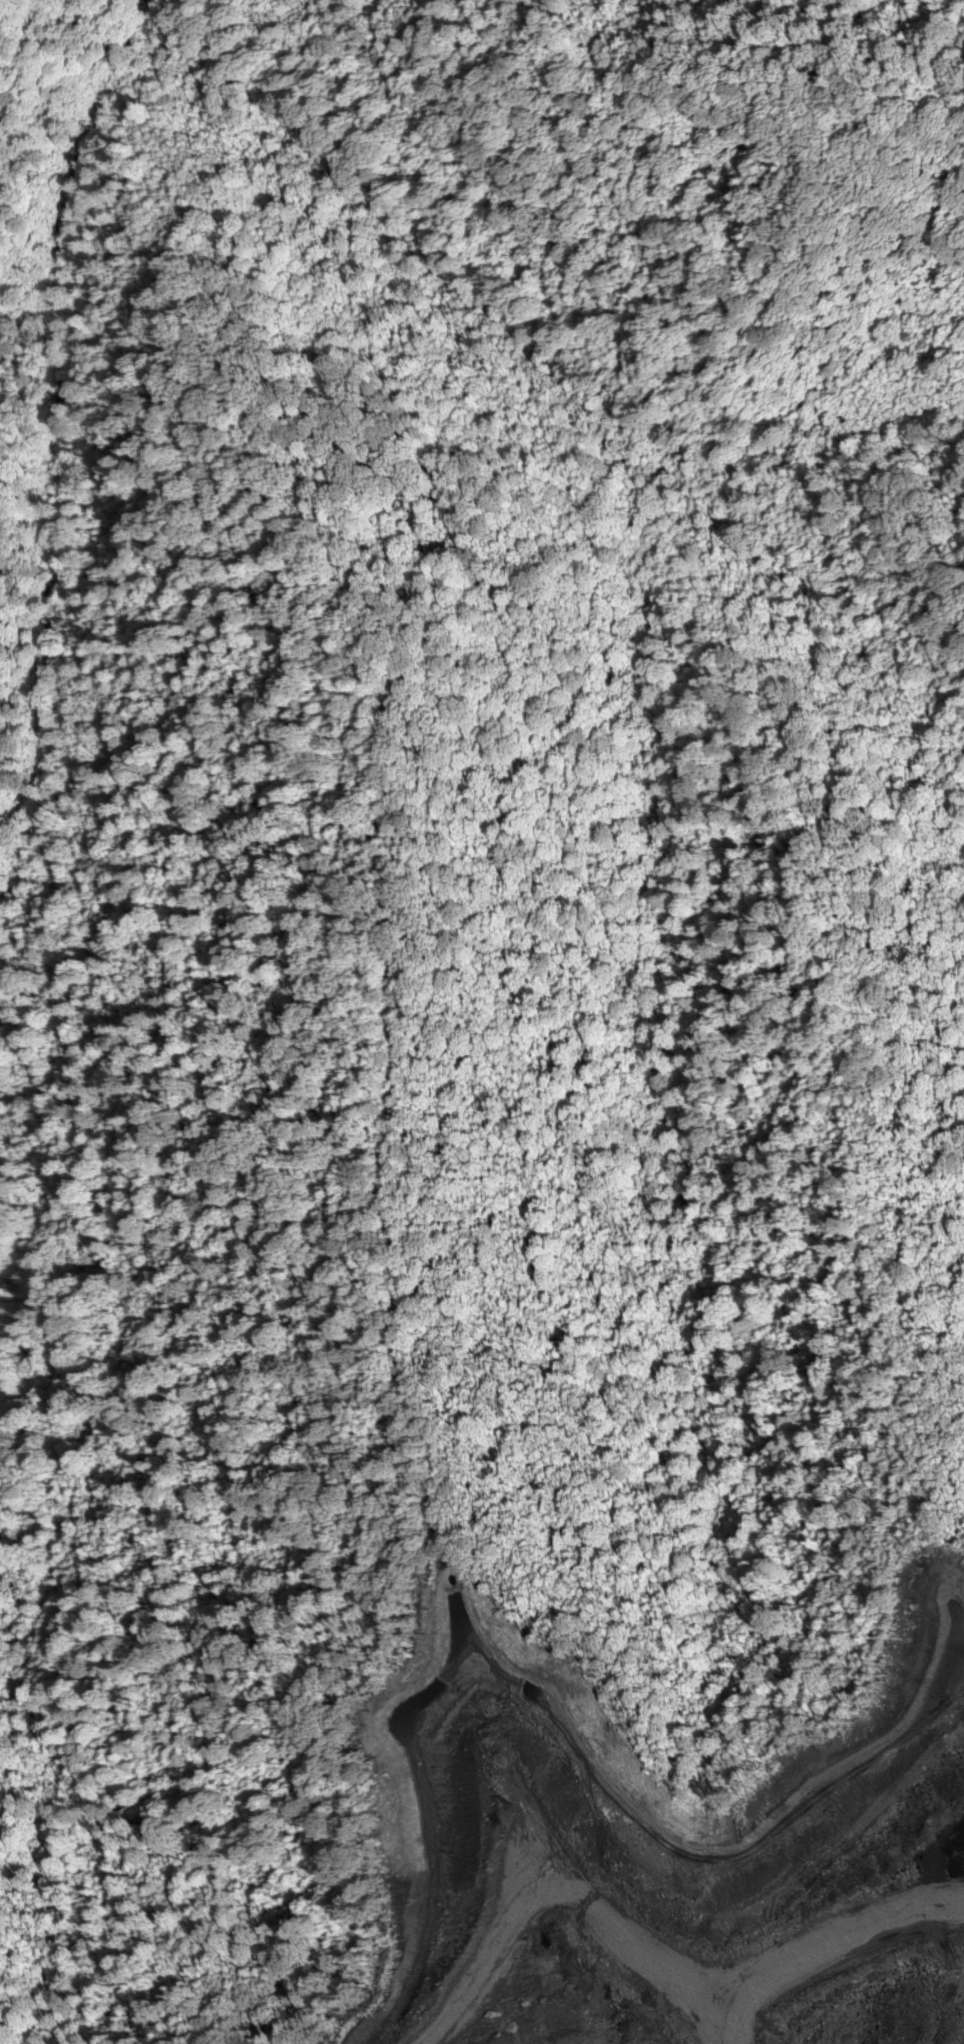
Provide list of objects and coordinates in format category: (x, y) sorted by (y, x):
quarry: (646, 1841)

